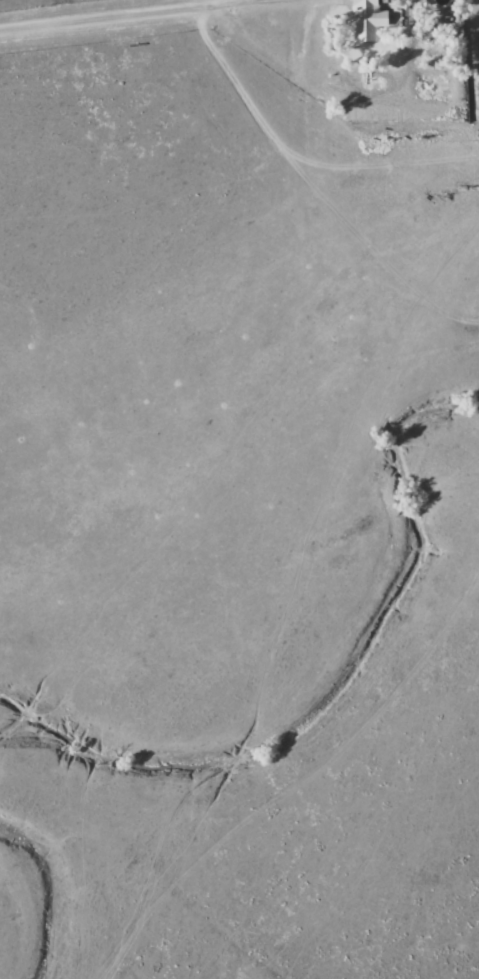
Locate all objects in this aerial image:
road: (111, 14)

